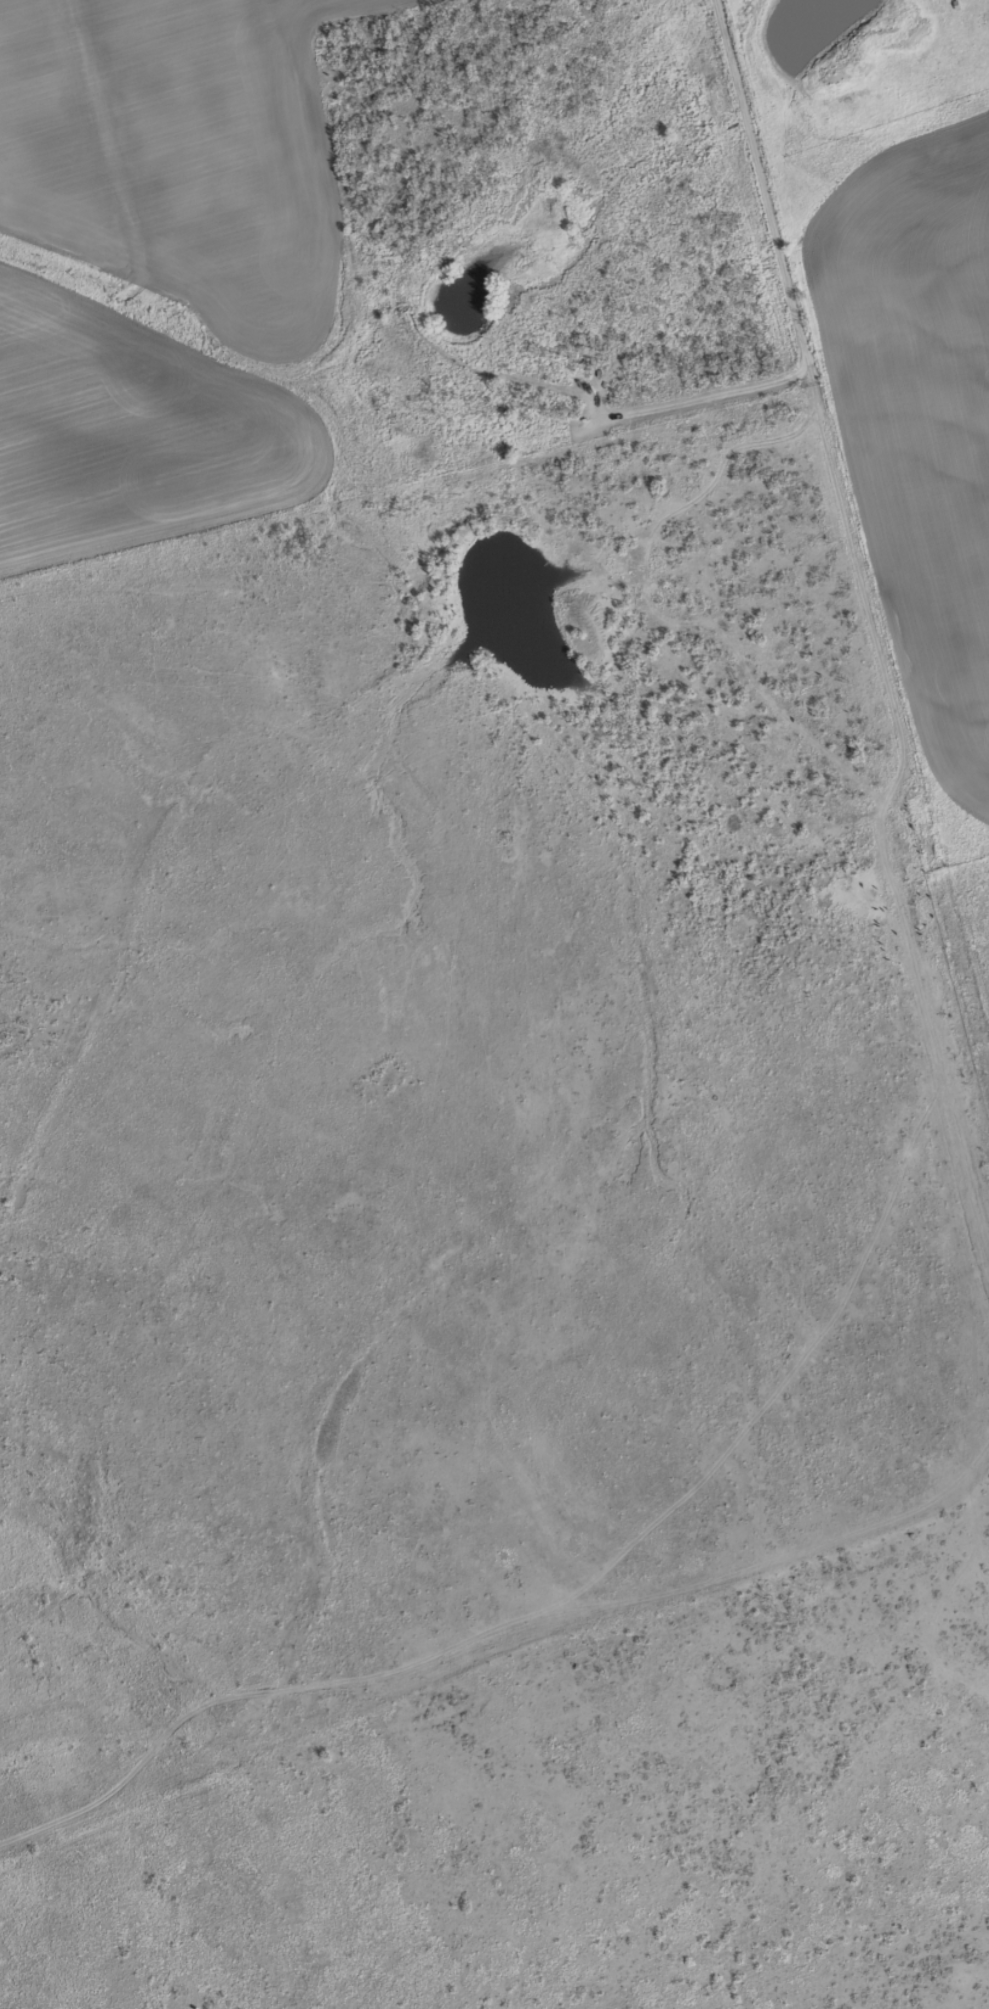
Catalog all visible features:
road: (449, 118)
road: (856, 490)

